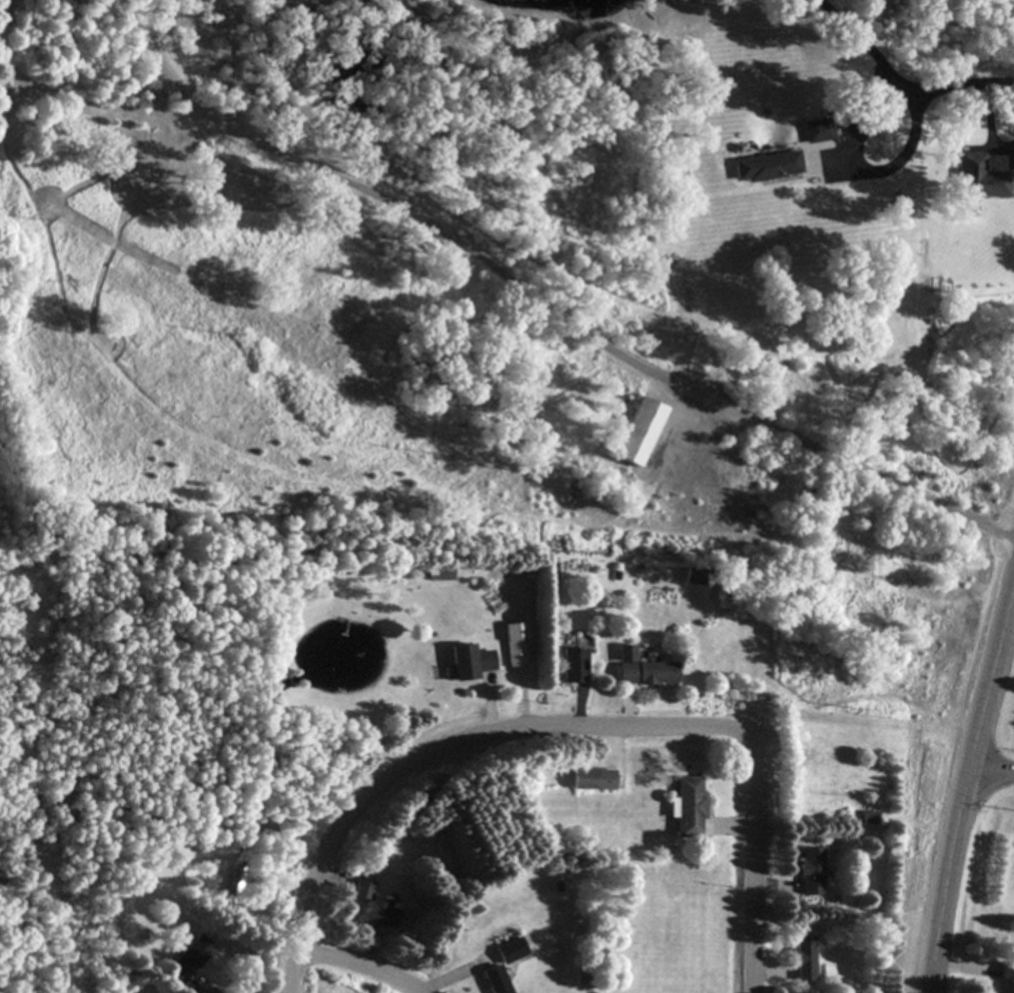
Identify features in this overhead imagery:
road: (862, 45)
road: (959, 85)
road: (991, 122)
building: (818, 131)
building: (767, 167)
road: (870, 171)
building: (978, 179)
road: (547, 303)
building: (636, 433)
building: (513, 645)
building: (467, 662)
building: (572, 666)
building: (641, 670)
road: (572, 722)
road: (991, 770)
building: (590, 780)
road: (964, 789)
building: (685, 808)
building: (810, 872)
building: (235, 880)
building: (360, 890)
building: (376, 912)
building: (508, 951)
building: (803, 959)
building: (186, 960)
road: (363, 962)
building: (1007, 979)
building: (493, 980)

